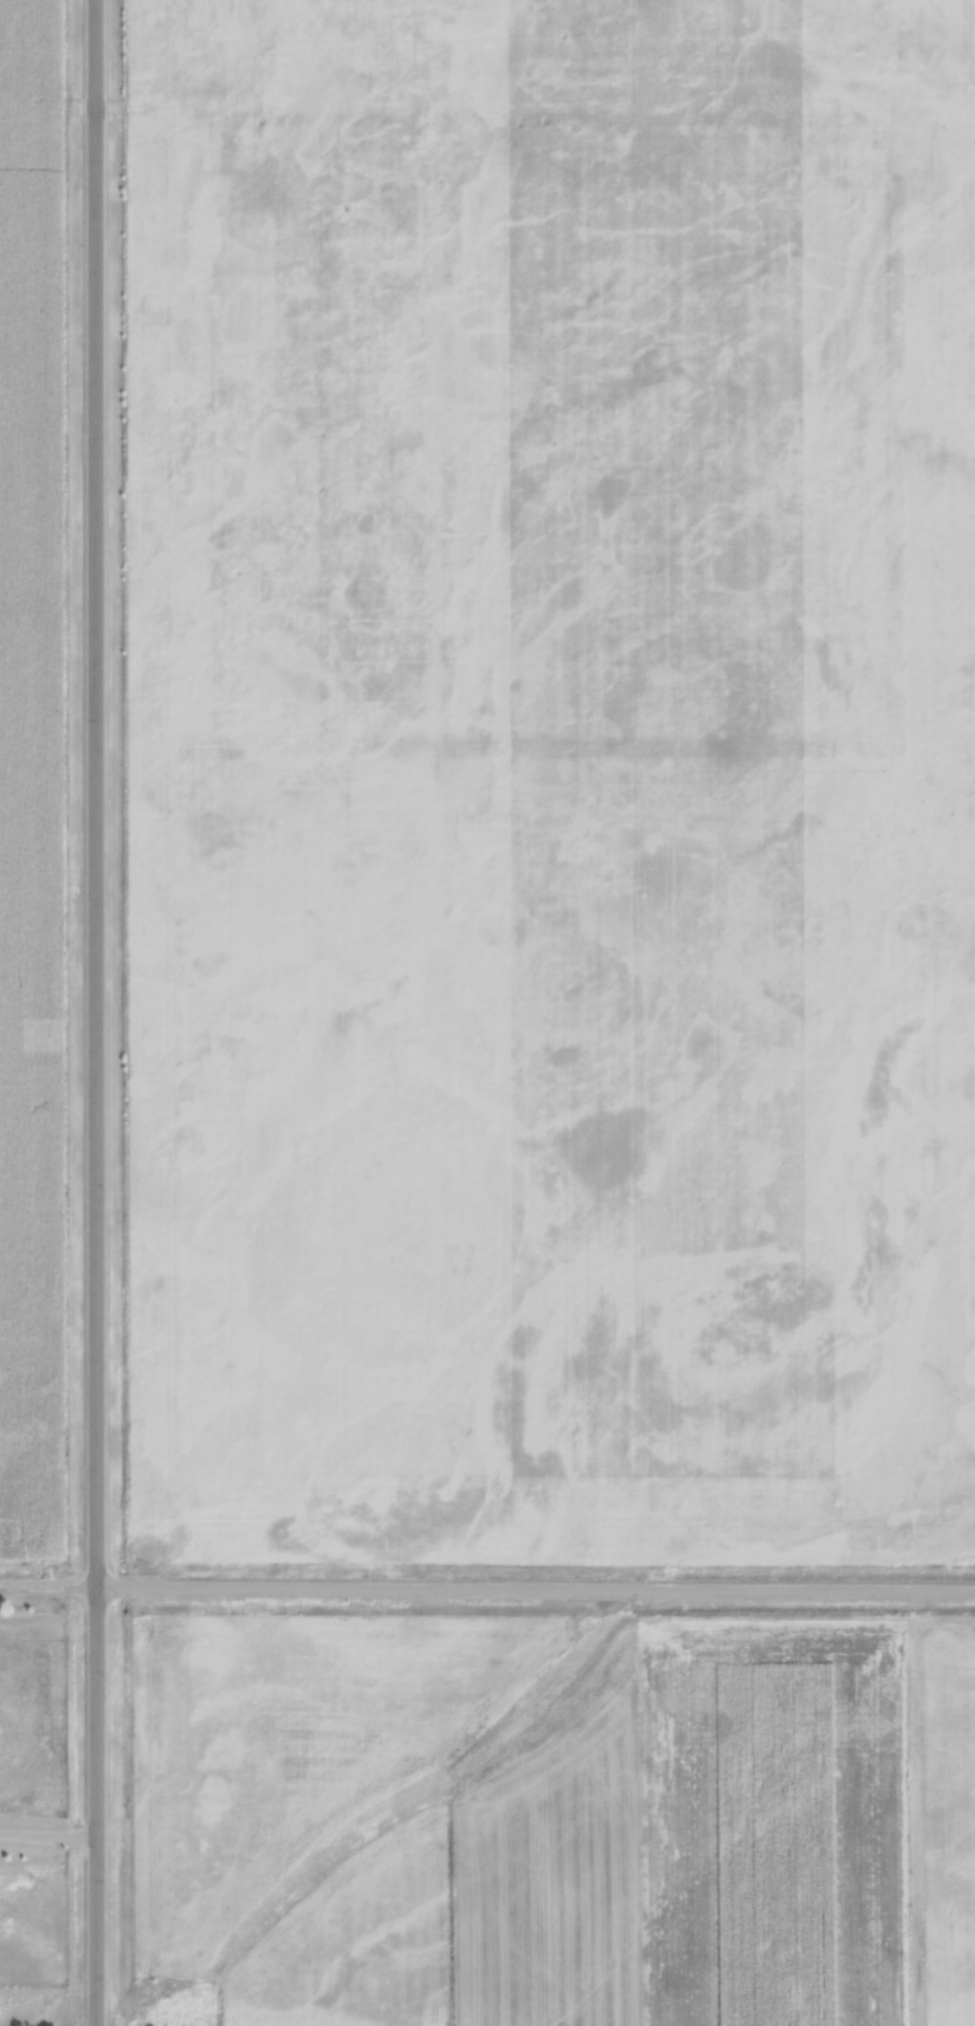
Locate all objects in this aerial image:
road: (96, 1012)
road: (487, 1587)
road: (48, 1833)

